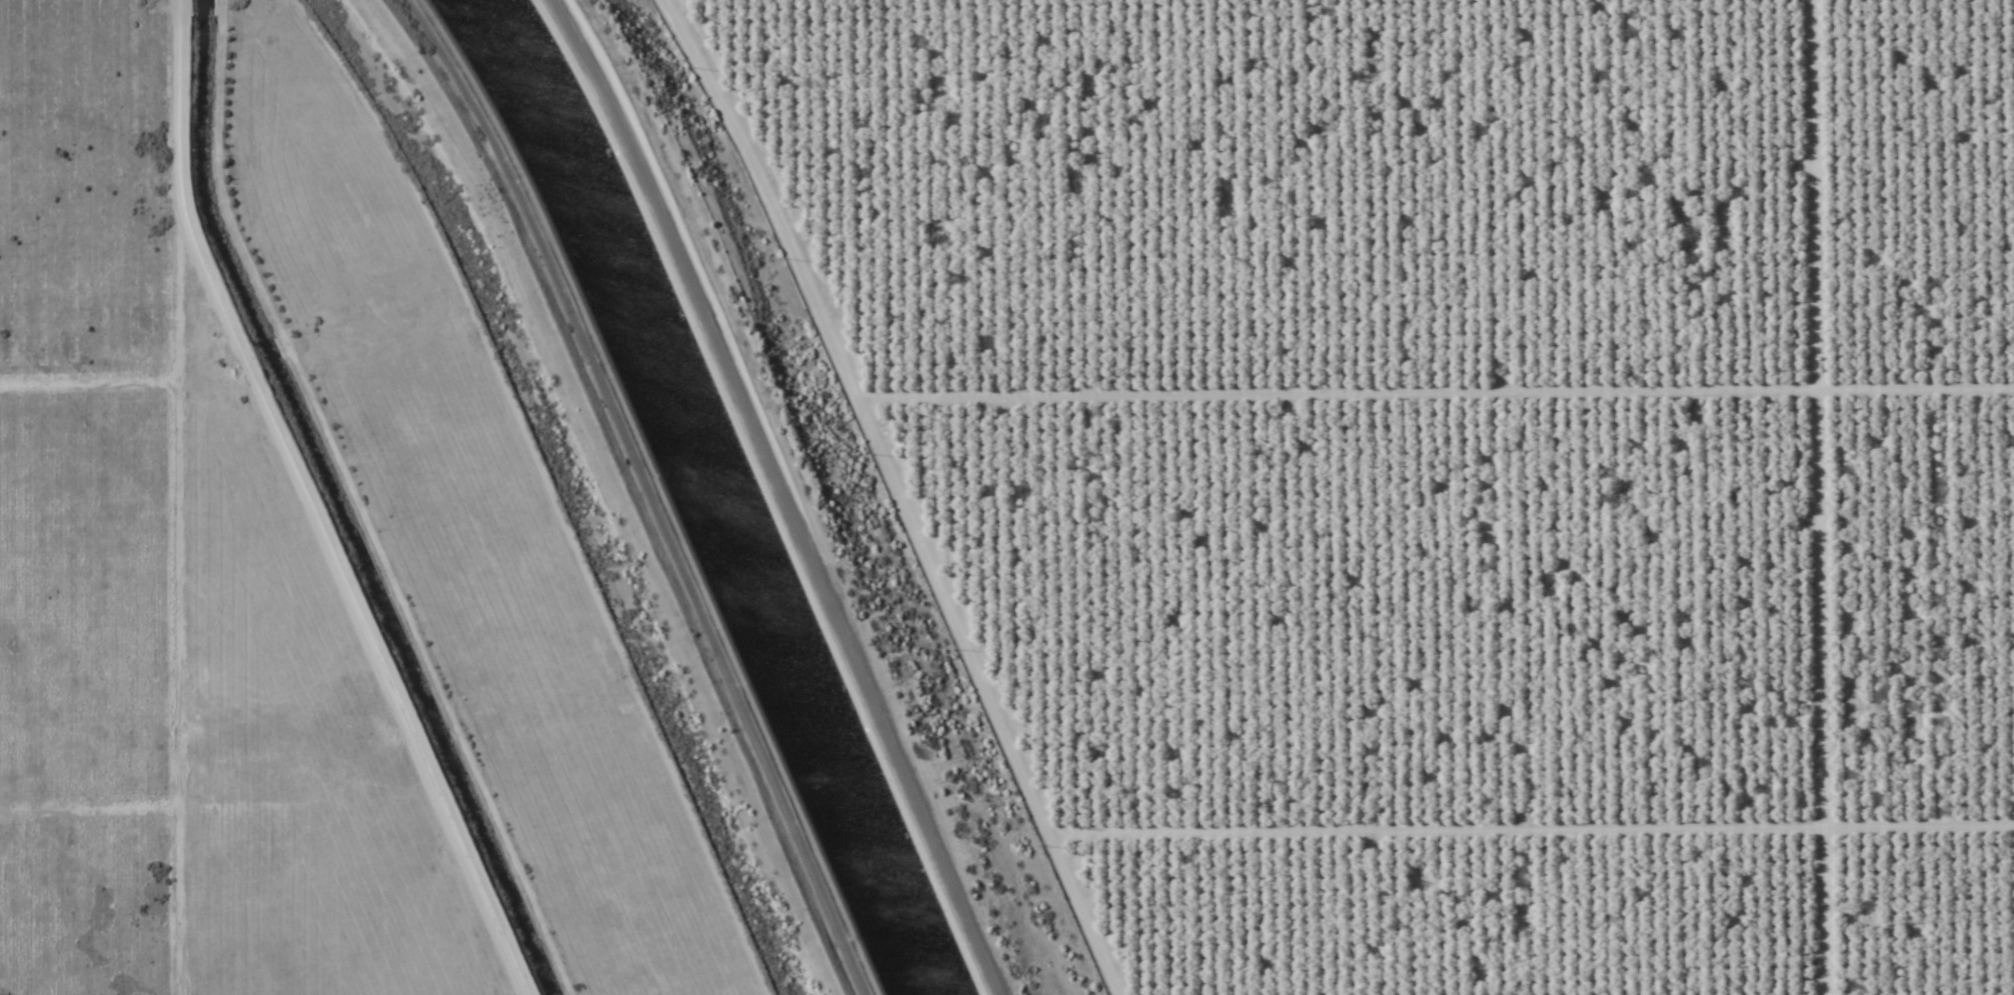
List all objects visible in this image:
road: (802, 487)
road: (648, 490)

